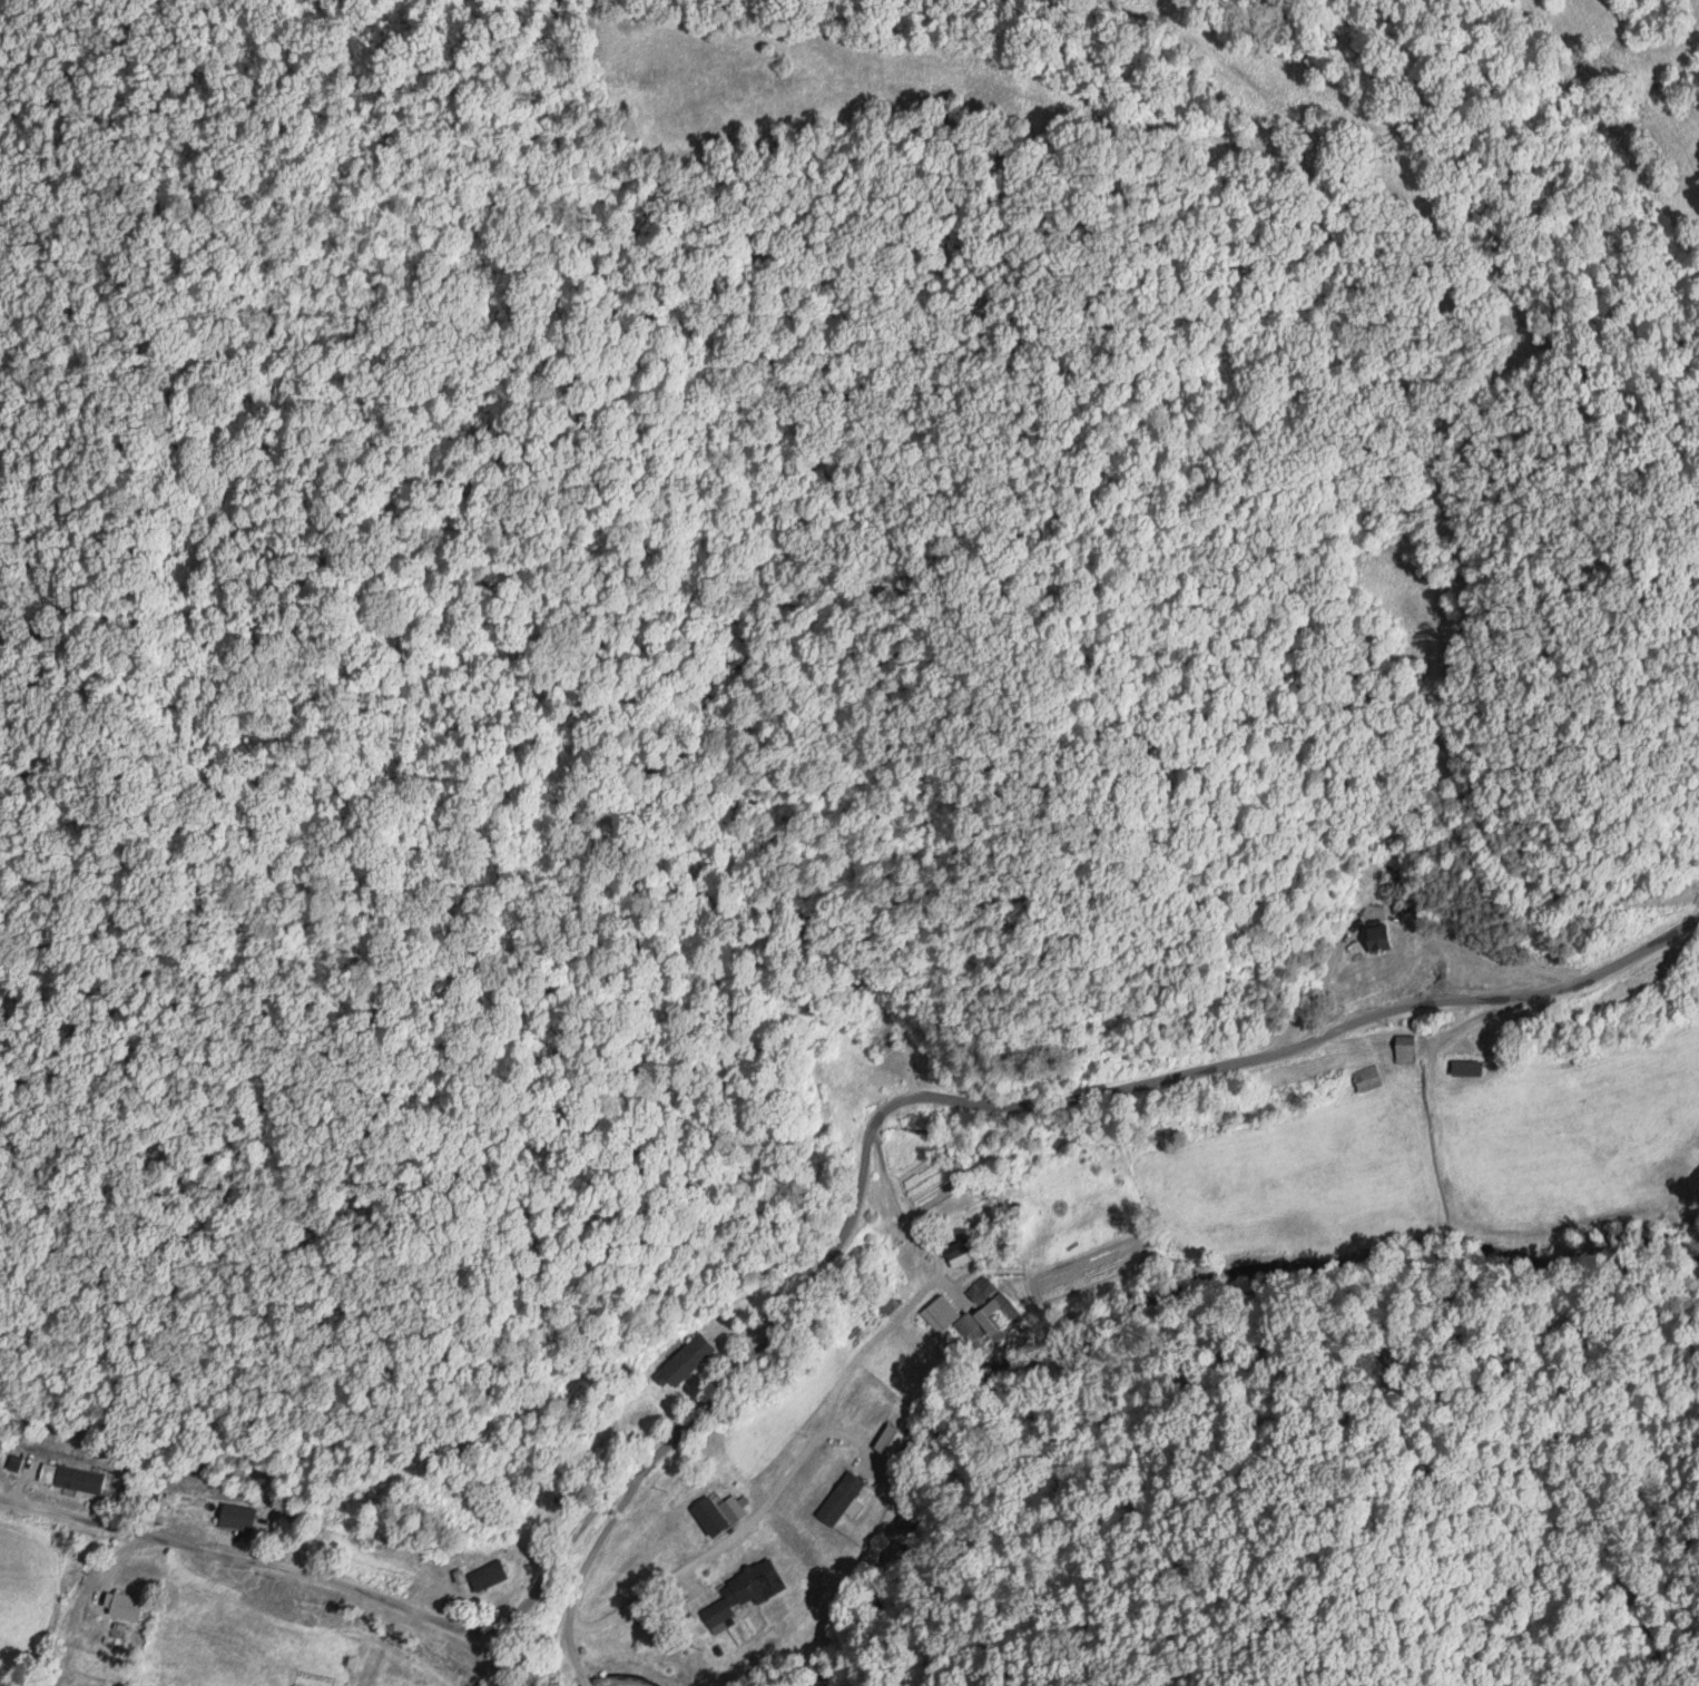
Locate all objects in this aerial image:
building: (1374, 938)
building: (1401, 1049)
building: (1463, 1068)
building: (1363, 1079)
building: (956, 1256)
road: (825, 1261)
building: (982, 1287)
building: (943, 1316)
building: (694, 1360)
building: (77, 1478)
building: (836, 1501)
building: (724, 1515)
building: (244, 1518)
road: (704, 1553)
building: (494, 1575)
building: (752, 1589)
building: (135, 1607)
road: (571, 1639)
road: (551, 1662)

